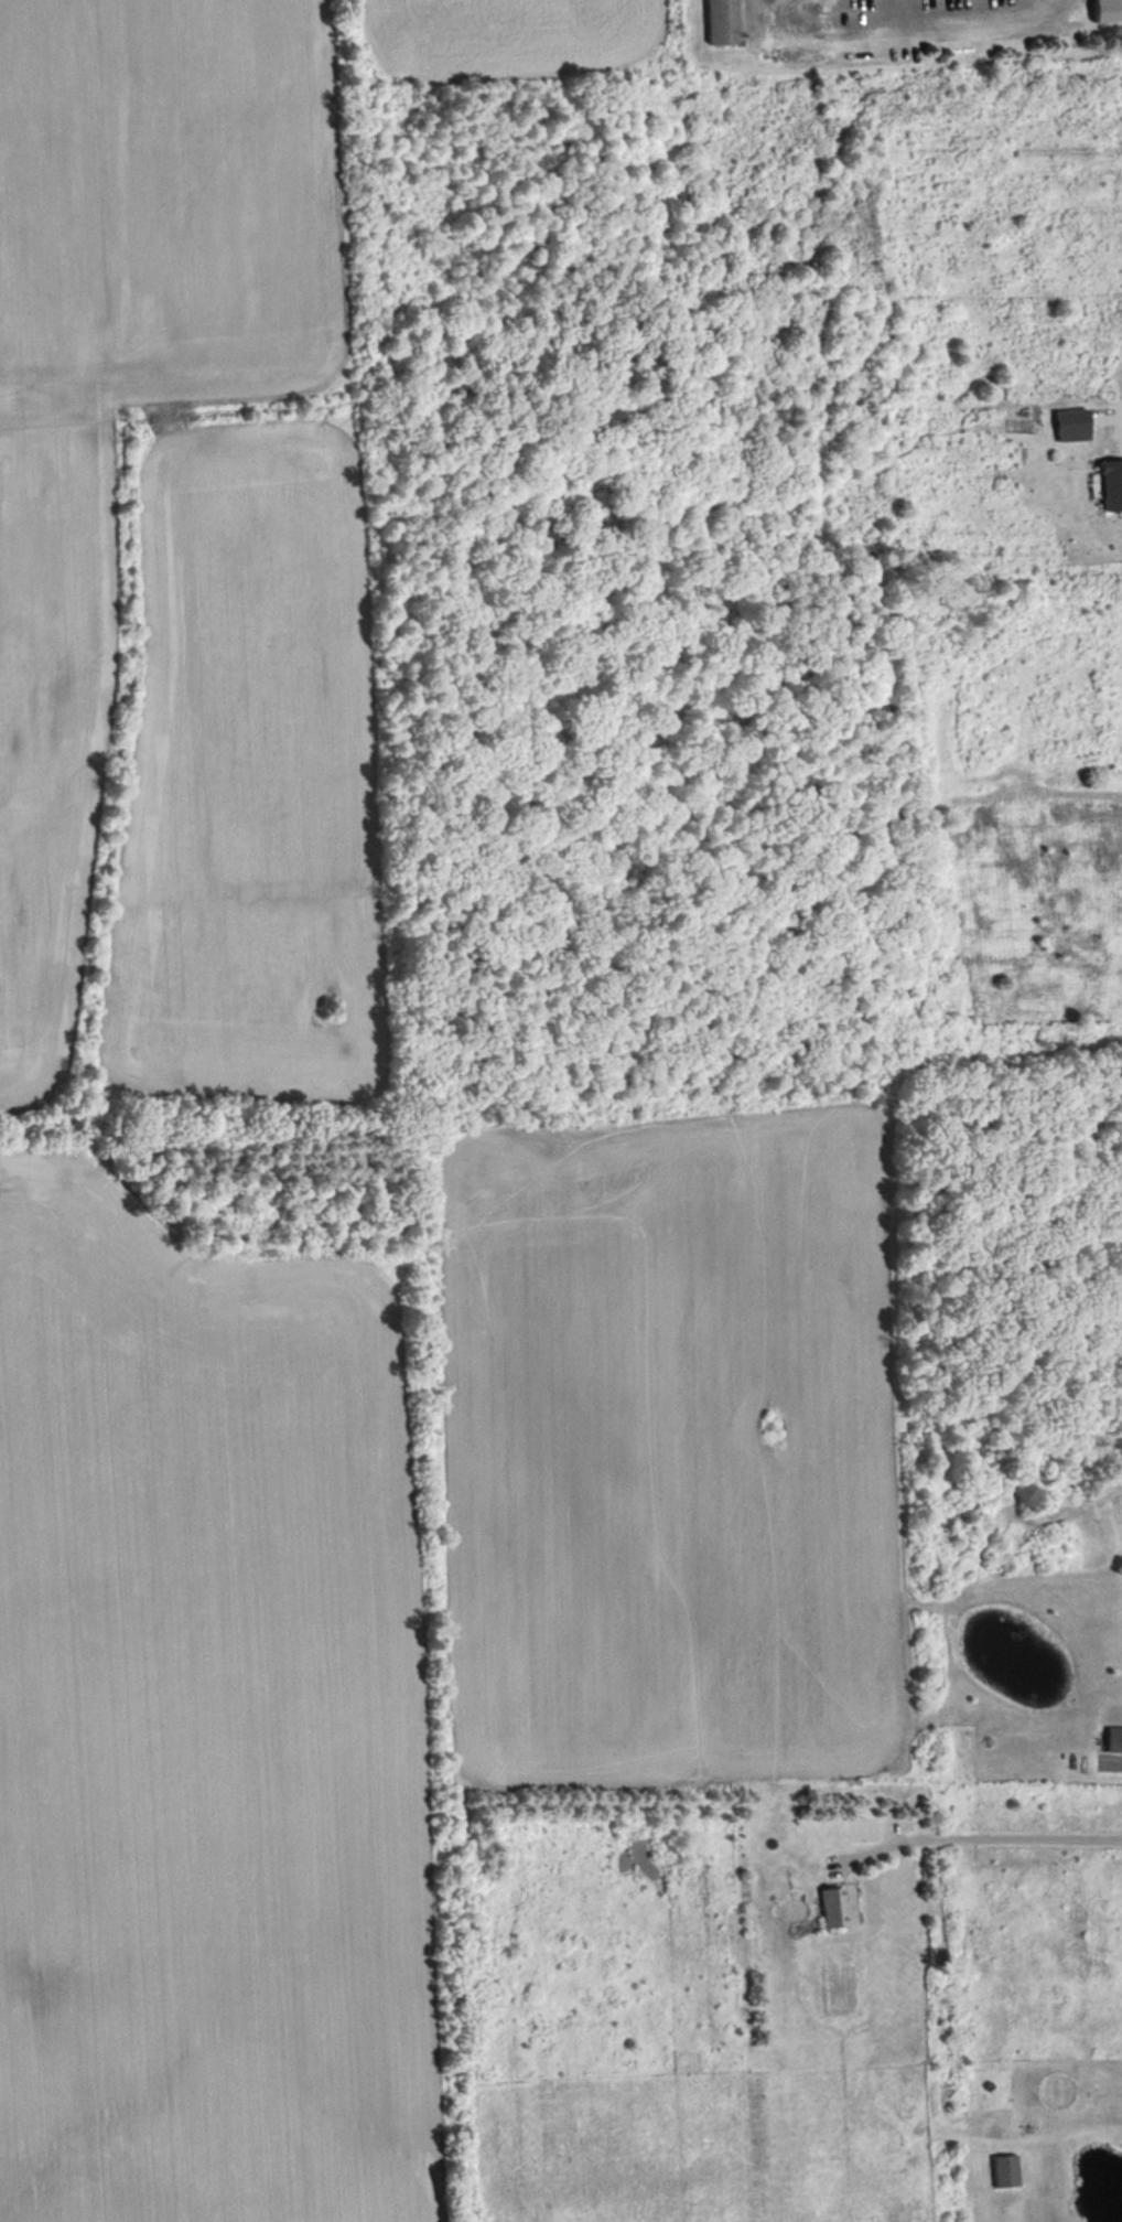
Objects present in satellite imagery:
building: (1108, 11)
building: (722, 22)
road: (915, 26)
building: (833, 1908)
building: (1006, 2171)

